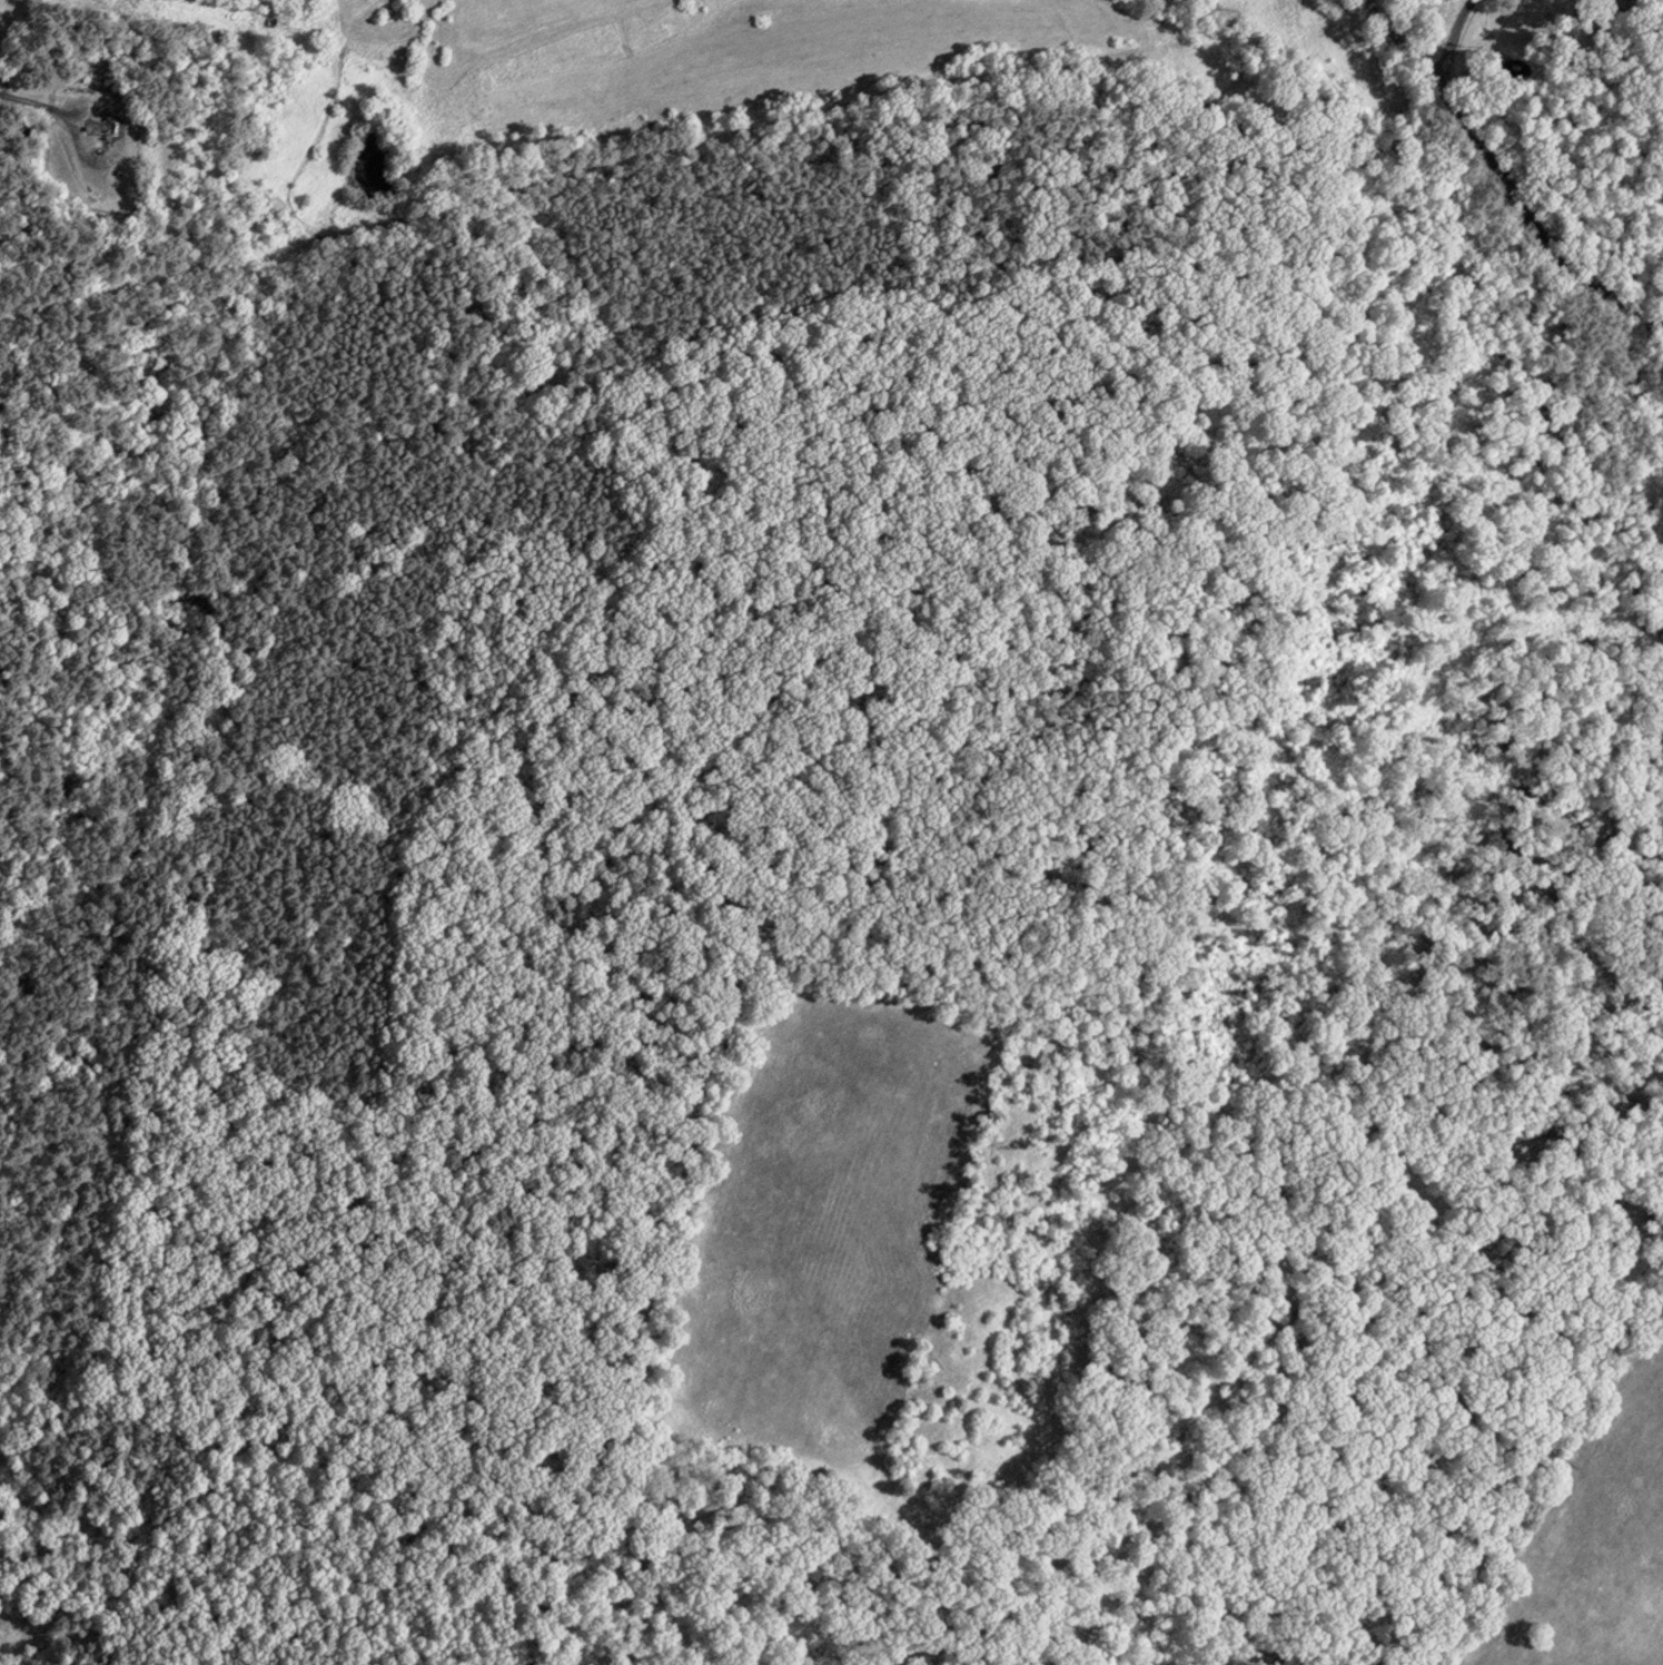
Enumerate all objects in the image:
road: (1503, 176)

